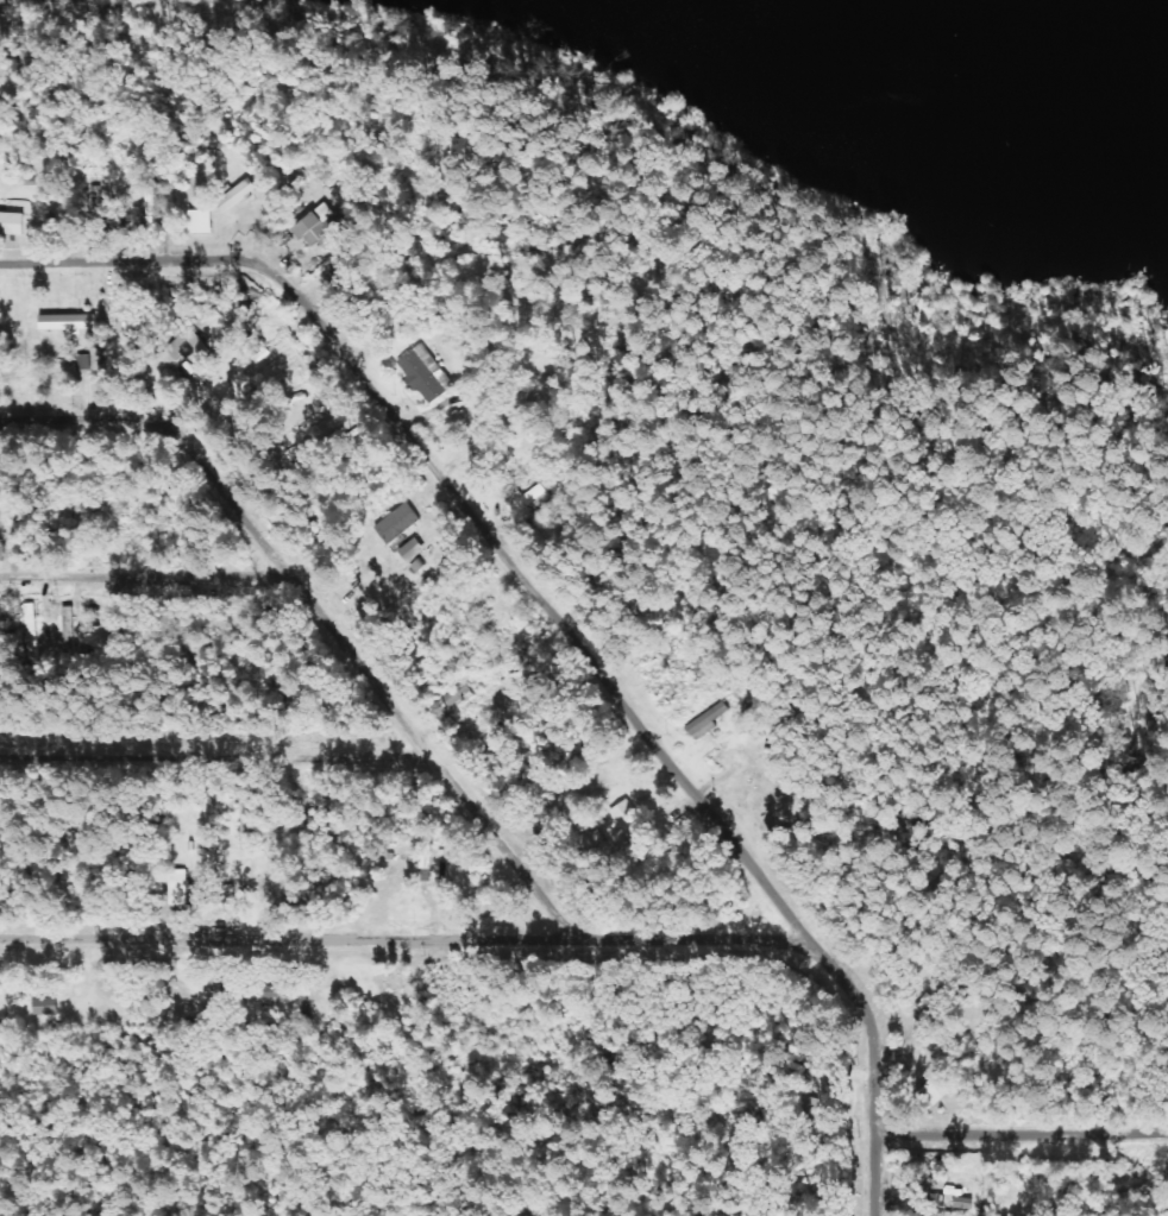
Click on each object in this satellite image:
building: (236, 194)
building: (200, 221)
building: (11, 223)
building: (319, 226)
building: (64, 321)
road: (128, 344)
building: (186, 346)
building: (423, 373)
road: (83, 421)
building: (526, 499)
building: (397, 523)
building: (410, 550)
road: (144, 578)
road: (522, 585)
road: (366, 682)
building: (701, 722)
road: (212, 757)
building: (628, 821)
building: (177, 888)
building: (221, 900)
road: (401, 940)
building: (303, 987)
road: (1022, 1138)
road: (873, 1177)

